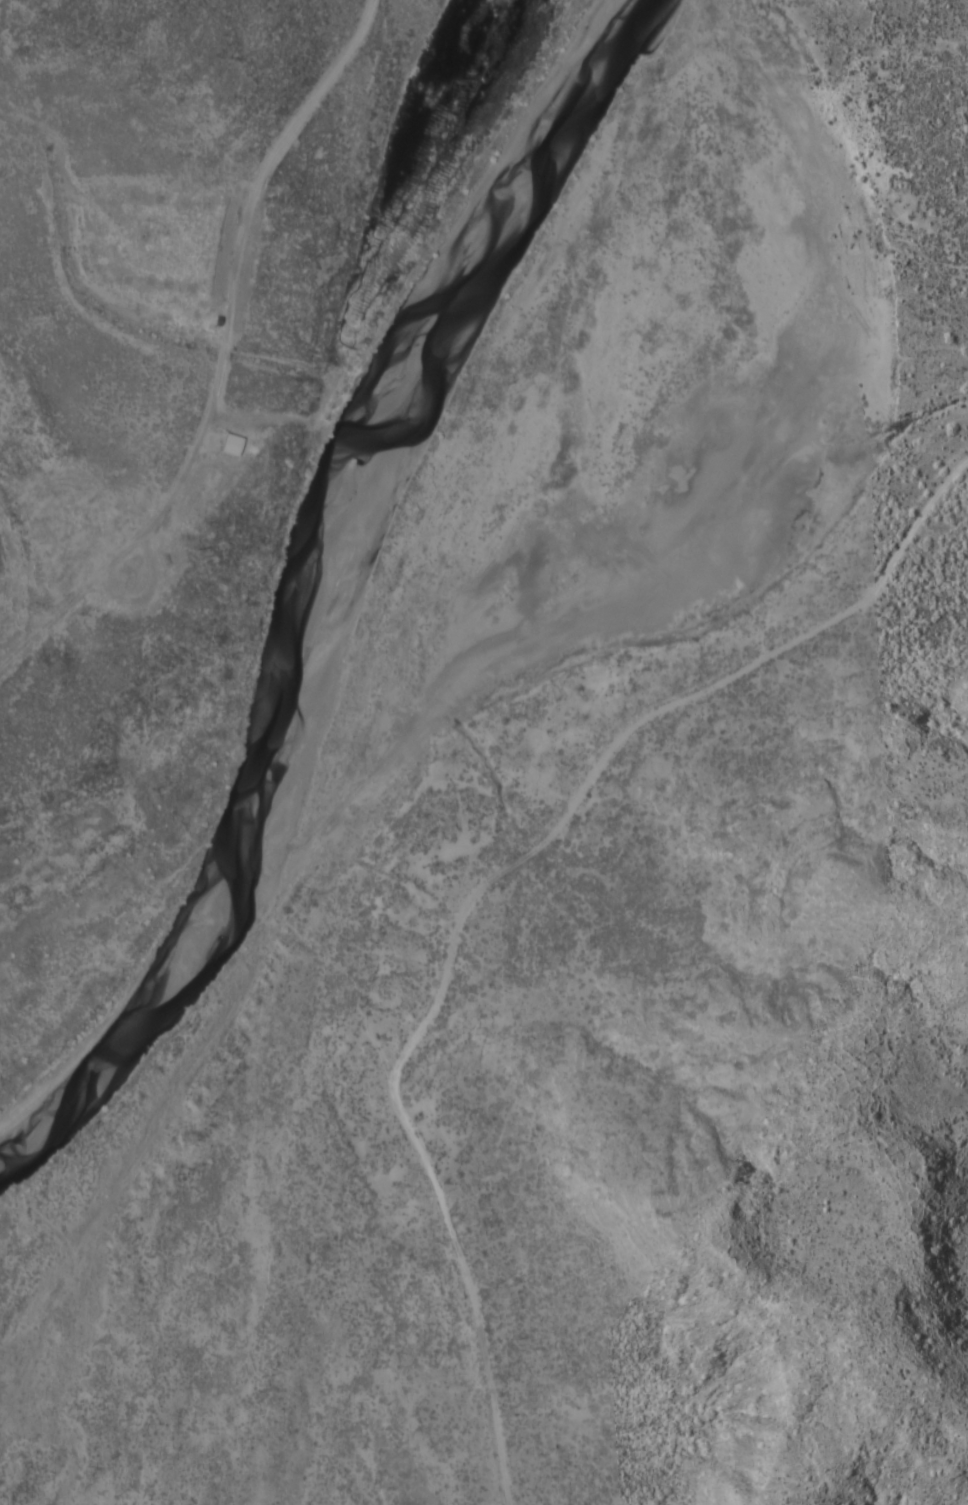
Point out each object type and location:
building: (228, 444)
river: (337, 602)

